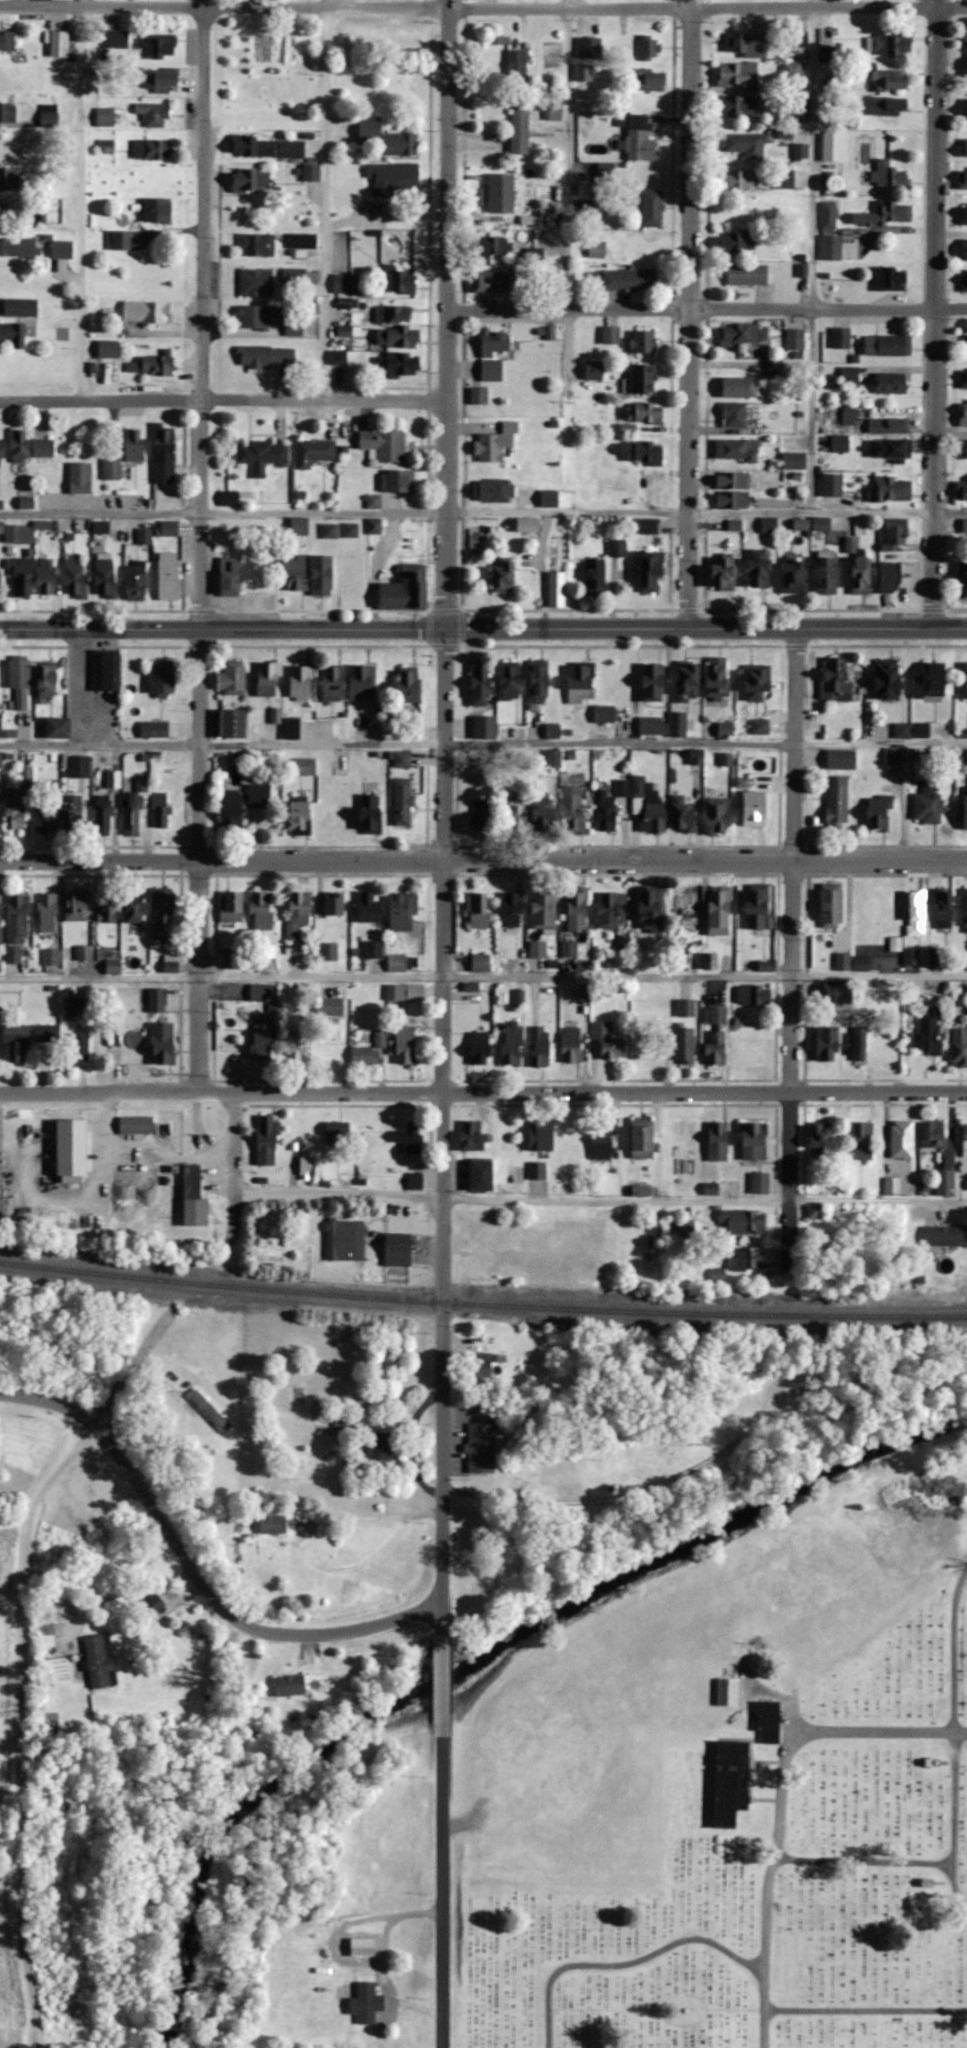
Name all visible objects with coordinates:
road: (483, 7)
building: (117, 39)
building: (7, 41)
building: (59, 45)
building: (745, 45)
building: (889, 45)
building: (156, 46)
building: (966, 47)
building: (590, 48)
building: (650, 48)
building: (826, 54)
building: (517, 66)
building: (793, 69)
building: (583, 72)
building: (738, 74)
building: (160, 80)
building: (651, 80)
building: (890, 81)
building: (737, 106)
building: (883, 108)
building: (965, 110)
building: (7, 113)
building: (154, 114)
building: (49, 116)
building: (851, 117)
building: (106, 118)
building: (520, 128)
building: (385, 139)
building: (639, 139)
building: (797, 139)
building: (747, 145)
building: (106, 147)
building: (253, 147)
building: (966, 148)
building: (292, 149)
building: (151, 150)
road: (566, 154)
building: (312, 173)
building: (607, 174)
building: (889, 176)
building: (393, 178)
building: (963, 178)
building: (8, 179)
building: (801, 179)
building: (251, 180)
building: (740, 180)
road: (82, 200)
road: (322, 200)
building: (599, 206)
building: (652, 208)
building: (157, 211)
building: (11, 213)
building: (964, 213)
building: (886, 214)
building: (828, 216)
building: (556, 218)
road: (384, 219)
building: (122, 241)
building: (302, 242)
building: (737, 242)
building: (257, 244)
building: (18, 247)
building: (492, 247)
building: (831, 248)
building: (597, 249)
building: (965, 249)
building: (62, 250)
building: (645, 254)
road: (811, 254)
building: (751, 274)
building: (294, 276)
building: (398, 279)
building: (629, 280)
building: (889, 280)
building: (964, 280)
building: (256, 282)
building: (491, 282)
building: (346, 283)
building: (21, 307)
road: (707, 308)
building: (146, 312)
road: (691, 313)
road: (204, 314)
road: (448, 314)
road: (937, 314)
building: (393, 315)
building: (260, 316)
building: (294, 329)
building: (740, 333)
building: (13, 334)
building: (611, 335)
building: (398, 337)
building: (841, 338)
building: (795, 340)
building: (643, 342)
building: (887, 345)
building: (108, 349)
building: (494, 353)
building: (265, 356)
building: (398, 364)
building: (156, 365)
building: (594, 370)
building: (850, 377)
building: (964, 378)
building: (643, 380)
building: (892, 383)
building: (740, 387)
building: (479, 396)
road: (224, 400)
building: (963, 413)
building: (645, 414)
building: (849, 415)
building: (738, 416)
building: (888, 426)
building: (840, 443)
building: (0, 444)
building: (496, 444)
building: (134, 445)
building: (384, 446)
building: (30, 447)
building: (890, 449)
building: (736, 450)
building: (314, 452)
building: (641, 453)
building: (164, 455)
building: (262, 455)
building: (794, 461)
building: (112, 469)
building: (80, 478)
building: (398, 482)
building: (733, 482)
building: (832, 486)
building: (891, 489)
building: (492, 491)
building: (962, 492)
building: (229, 498)
building: (550, 499)
building: (732, 500)
building: (27, 504)
road: (483, 508)
building: (822, 524)
building: (42, 525)
building: (528, 525)
building: (769, 525)
building: (648, 526)
building: (964, 526)
building: (299, 527)
building: (168, 529)
building: (896, 534)
building: (145, 537)
building: (851, 545)
road: (540, 567)
building: (651, 569)
building: (760, 569)
building: (557, 572)
building: (725, 573)
building: (295, 574)
building: (826, 575)
building: (22, 576)
building: (47, 576)
building: (75, 576)
building: (105, 576)
building: (168, 576)
building: (322, 576)
building: (860, 576)
building: (230, 577)
building: (595, 577)
building: (794, 577)
building: (890, 577)
building: (503, 578)
building: (964, 579)
building: (136, 581)
building: (404, 593)
traffic signals: (445, 628)
road: (483, 628)
building: (106, 670)
building: (232, 676)
building: (163, 677)
building: (833, 677)
building: (269, 678)
building: (888, 678)
building: (931, 679)
building: (965, 679)
building: (47, 680)
building: (510, 680)
building: (20, 681)
building: (582, 681)
building: (688, 681)
building: (717, 681)
building: (301, 682)
building: (334, 682)
building: (362, 682)
building: (539, 682)
building: (653, 682)
building: (757, 682)
building: (481, 683)
building: (409, 685)
road: (82, 687)
building: (604, 714)
building: (232, 723)
building: (0, 724)
building: (650, 725)
building: (484, 726)
building: (58, 727)
building: (291, 728)
building: (154, 729)
building: (911, 730)
road: (483, 744)
building: (893, 756)
building: (1, 758)
building: (402, 759)
building: (842, 759)
building: (79, 766)
building: (305, 766)
building: (341, 767)
building: (113, 779)
building: (638, 786)
building: (258, 795)
building: (19, 799)
building: (403, 799)
road: (904, 801)
building: (837, 802)
building: (928, 803)
building: (965, 803)
building: (755, 808)
building: (573, 809)
building: (161, 810)
building: (230, 810)
building: (331, 811)
building: (72, 812)
building: (543, 812)
building: (605, 812)
building: (879, 813)
building: (131, 814)
building: (371, 814)
building: (482, 814)
building: (103, 815)
building: (300, 815)
building: (517, 815)
building: (718, 815)
building: (683, 816)
building: (654, 817)
building: (44, 820)
road: (201, 859)
road: (483, 860)
building: (334, 903)
building: (691, 904)
building: (832, 904)
building: (76, 905)
building: (758, 905)
building: (231, 906)
building: (369, 906)
building: (651, 907)
building: (513, 908)
building: (577, 909)
building: (945, 909)
building: (262, 910)
building: (478, 910)
building: (543, 910)
building: (609, 910)
building: (720, 910)
building: (966, 910)
building: (133, 911)
building: (47, 912)
building: (108, 912)
building: (299, 912)
building: (403, 912)
building: (917, 912)
building: (163, 913)
building: (16, 928)
road: (792, 947)
building: (374, 950)
building: (329, 951)
building: (84, 952)
building: (910, 955)
building: (51, 956)
building: (937, 956)
building: (232, 957)
building: (267, 957)
building: (710, 961)
building: (171, 962)
building: (397, 962)
building: (480, 962)
building: (113, 966)
road: (483, 975)
building: (915, 986)
building: (261, 991)
building: (406, 991)
building: (837, 991)
building: (752, 995)
building: (158, 999)
building: (330, 1005)
building: (76, 1006)
building: (686, 1007)
building: (715, 1015)
building: (929, 1031)
building: (46, 1032)
building: (827, 1039)
building: (115, 1040)
building: (608, 1040)
building: (17, 1041)
building: (163, 1042)
building: (332, 1042)
building: (512, 1043)
building: (684, 1043)
building: (860, 1043)
building: (261, 1044)
building: (571, 1044)
building: (79, 1045)
building: (406, 1045)
building: (539, 1045)
building: (959, 1045)
building: (716, 1046)
building: (480, 1047)
building: (755, 1047)
building: (297, 1048)
building: (136, 1052)
building: (365, 1054)
road: (483, 1091)
building: (136, 1124)
road: (441, 1125)
building: (541, 1133)
building: (338, 1134)
building: (933, 1134)
building: (471, 1135)
building: (410, 1136)
building: (642, 1138)
building: (267, 1139)
building: (862, 1139)
building: (902, 1139)
building: (754, 1140)
building: (821, 1140)
building: (718, 1141)
building: (964, 1141)
building: (601, 1149)
building: (72, 1150)
building: (310, 1167)
road: (236, 1170)
building: (537, 1170)
building: (482, 1175)
building: (415, 1180)
building: (760, 1182)
building: (945, 1182)
building: (894, 1186)
building: (711, 1188)
road: (339, 1193)
road: (876, 1196)
building: (194, 1198)
road: (614, 1199)
building: (816, 1211)
building: (743, 1222)
building: (340, 1240)
building: (397, 1251)
building: (745, 1259)
building: (718, 1275)
railway: (482, 1304)
building: (480, 1364)
building: (209, 1410)
building: (341, 1419)
building: (382, 1445)
building: (482, 1447)
building: (271, 1528)
road: (193, 1572)
building: (150, 1609)
road: (953, 1649)
road: (22, 1655)
river: (475, 1657)
building: (100, 1661)
road: (442, 1674)
building: (289, 1685)
building: (728, 1692)
building: (769, 1720)
road: (878, 1730)
building: (731, 1781)
park: (729, 1795)
road: (925, 1863)
road: (771, 1871)
road: (442, 1886)
road: (953, 1888)
building: (362, 1947)
road: (625, 1964)
building: (366, 2003)
road: (865, 2011)

